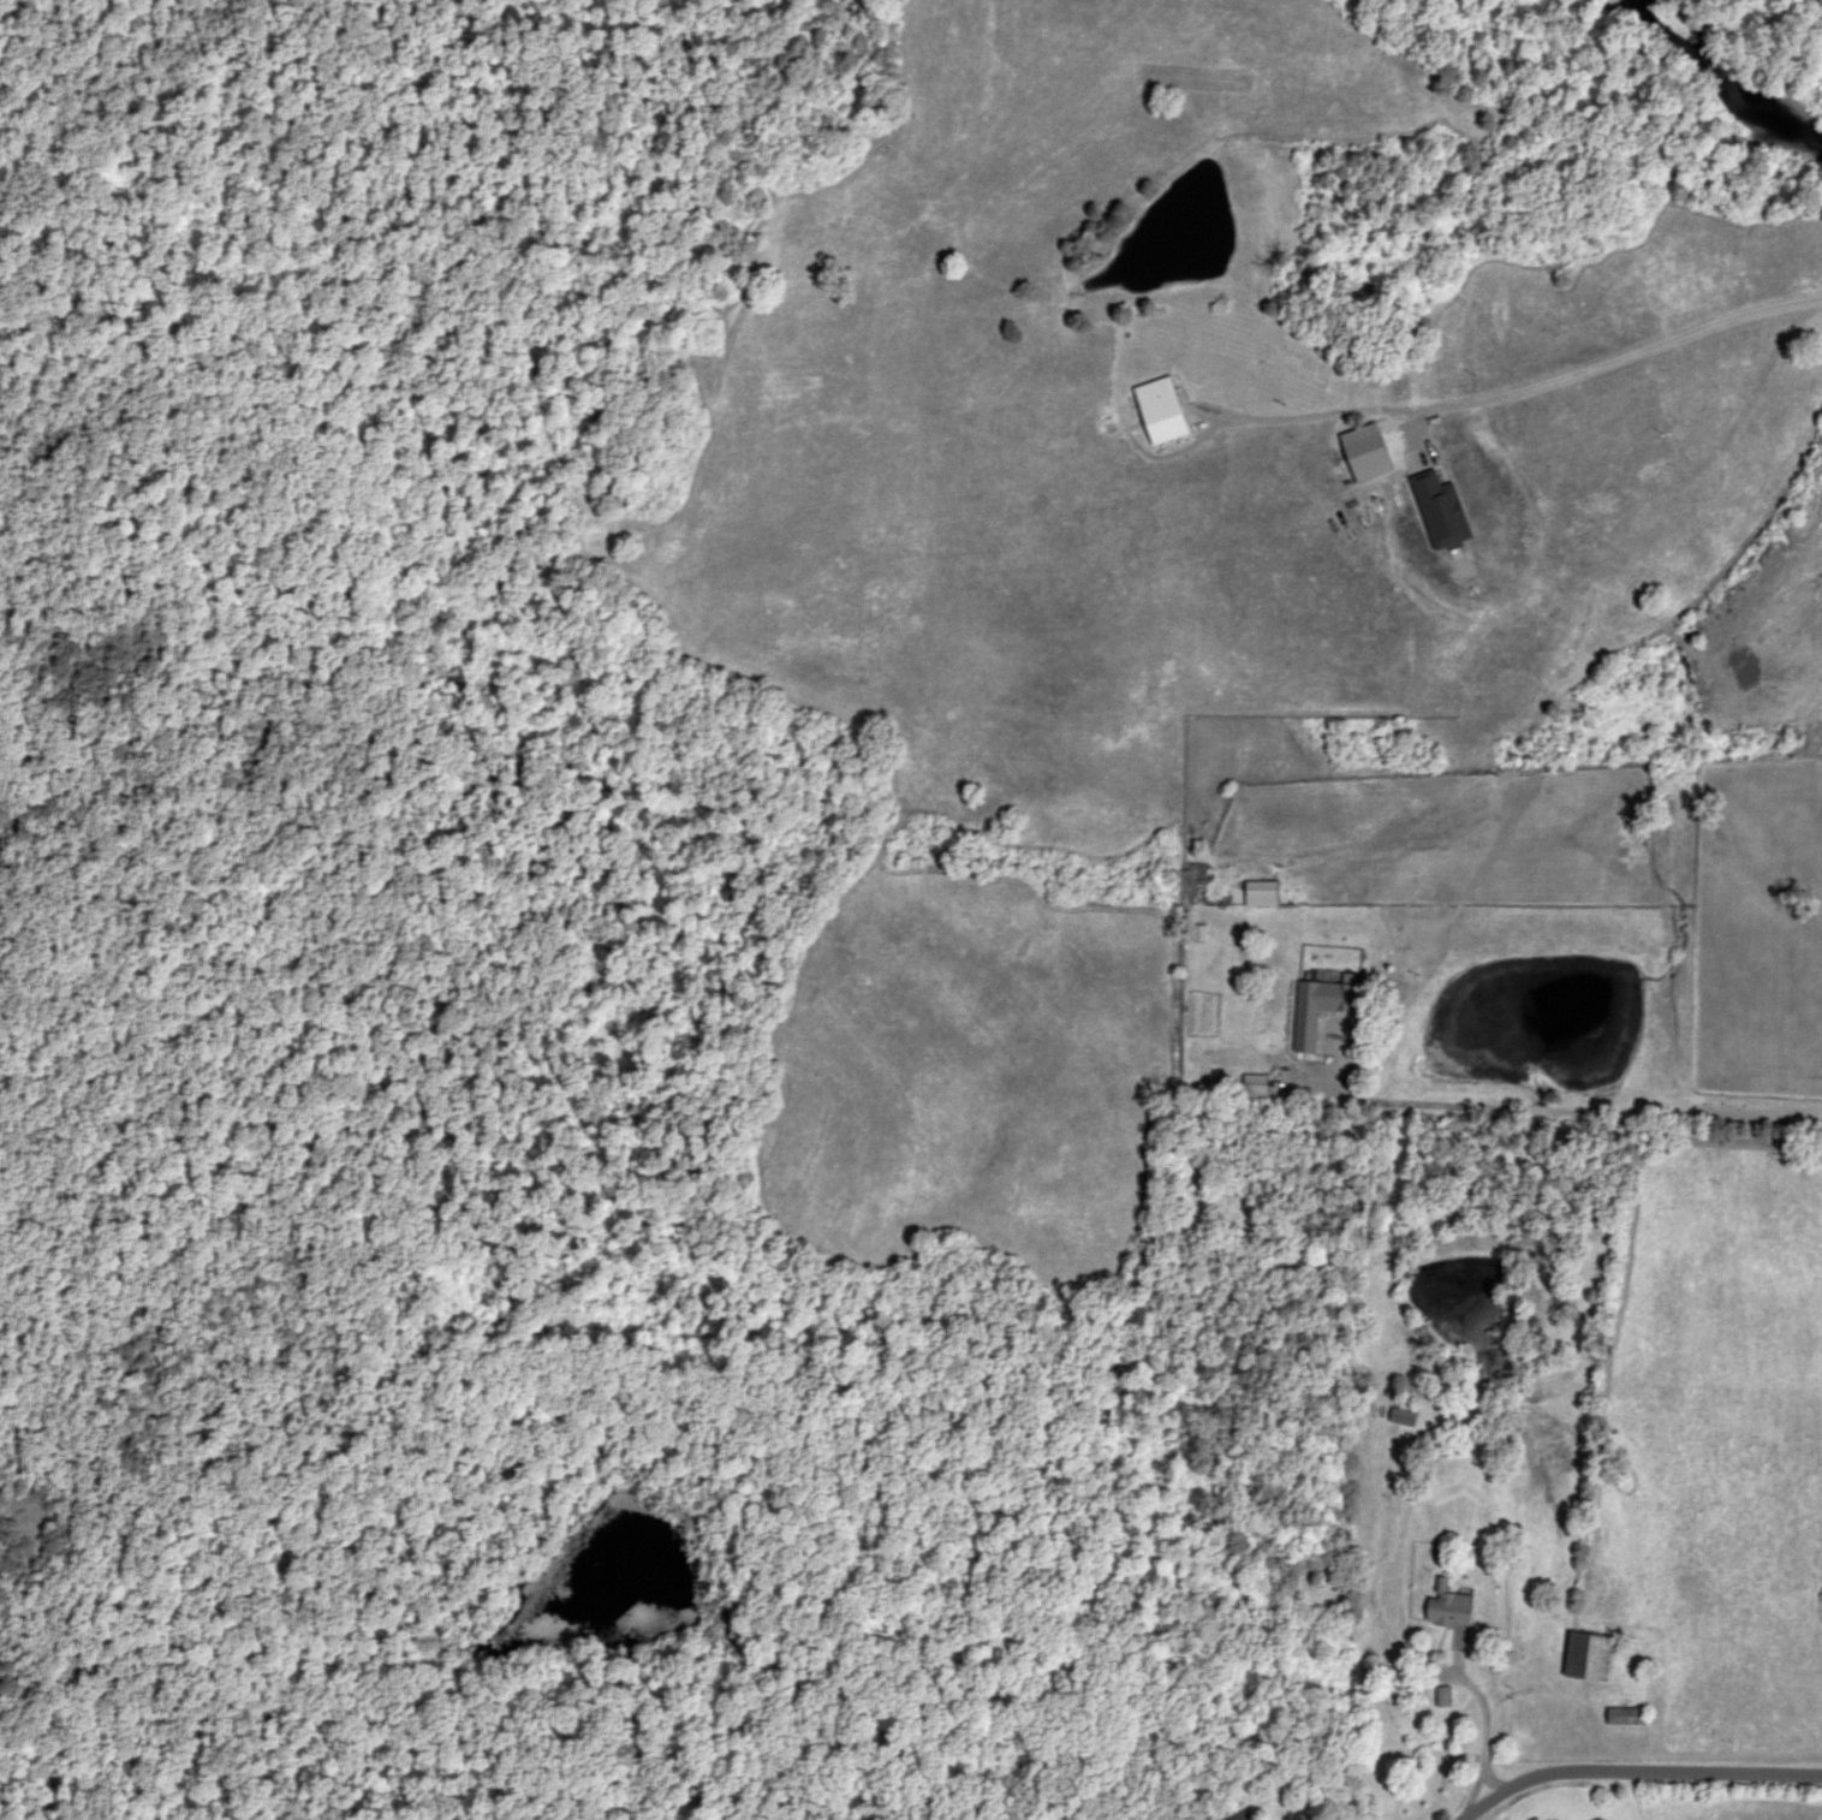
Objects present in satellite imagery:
river: (1721, 89)
road: (1728, 784)
building: (1268, 890)
building: (1345, 1001)
building: (1258, 1088)
road: (1556, 1112)
building: (1409, 1417)
building: (1455, 1611)
building: (1594, 1658)
building: (1631, 1717)
road: (1614, 1770)

